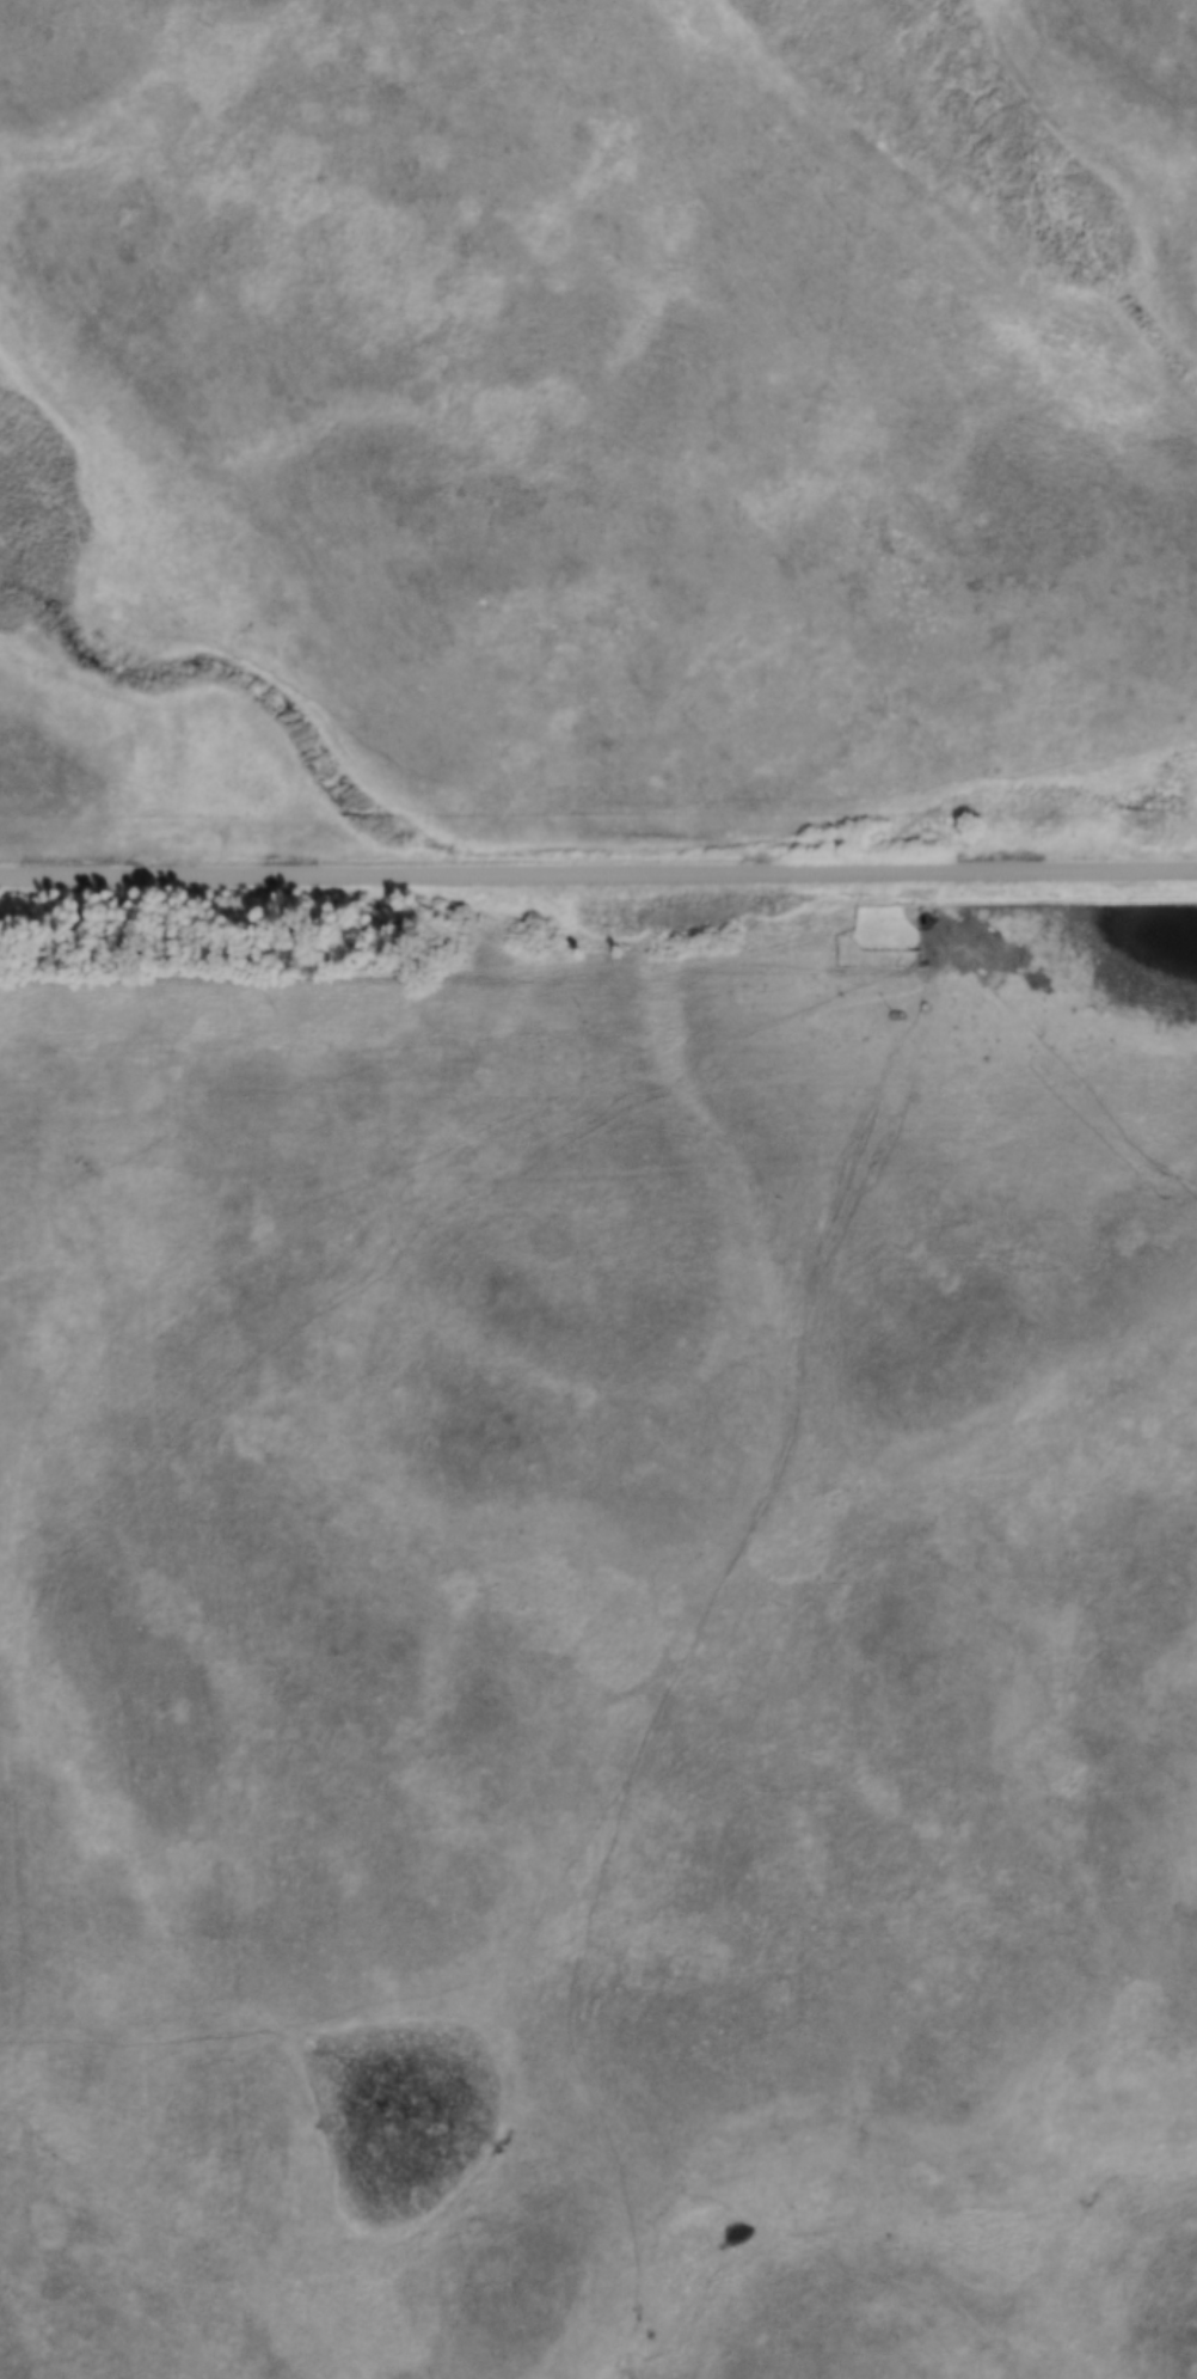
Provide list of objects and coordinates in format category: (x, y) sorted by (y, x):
road: (598, 877)

